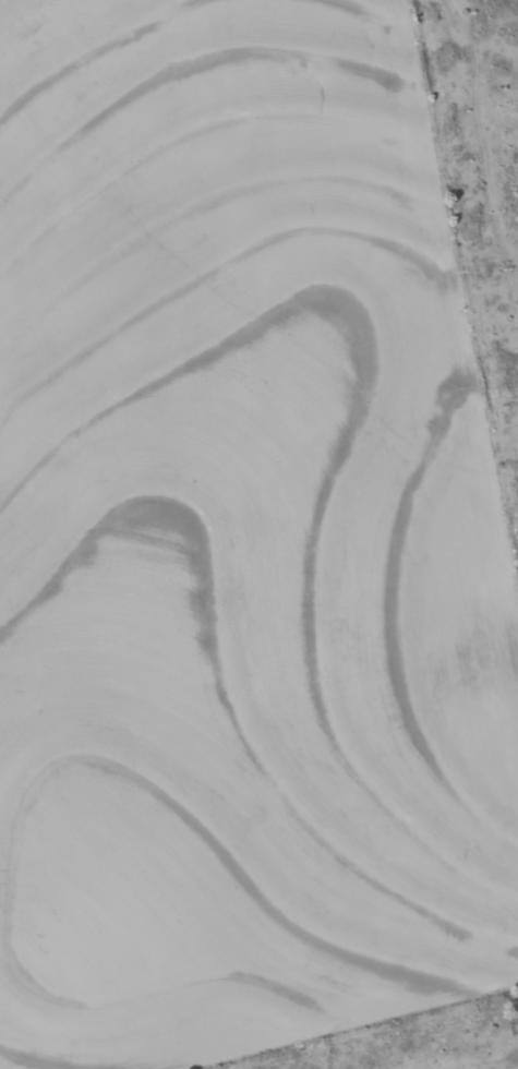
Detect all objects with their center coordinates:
road: (465, 194)
road: (477, 1060)

